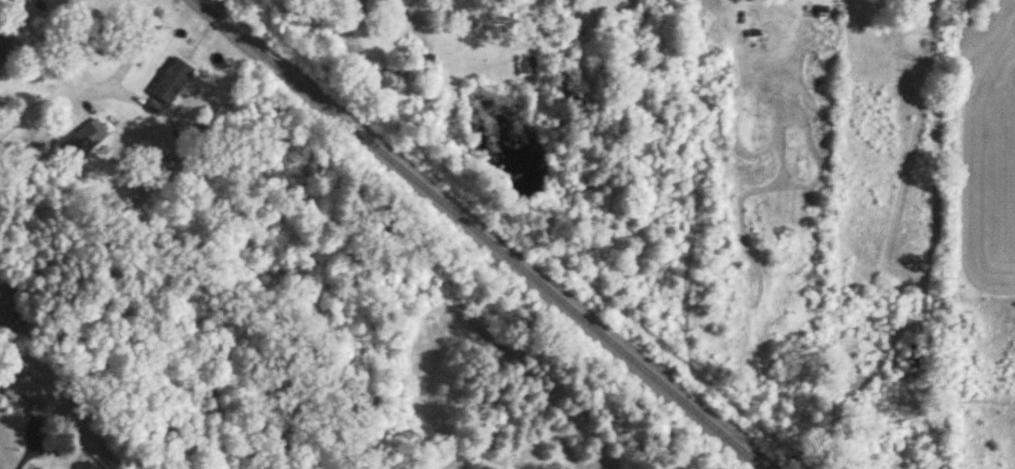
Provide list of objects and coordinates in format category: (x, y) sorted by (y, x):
building: (4, 52)
building: (528, 66)
building: (171, 81)
road: (49, 105)
building: (76, 149)
crop: (983, 234)
railway: (480, 235)
building: (35, 397)
road: (25, 460)

